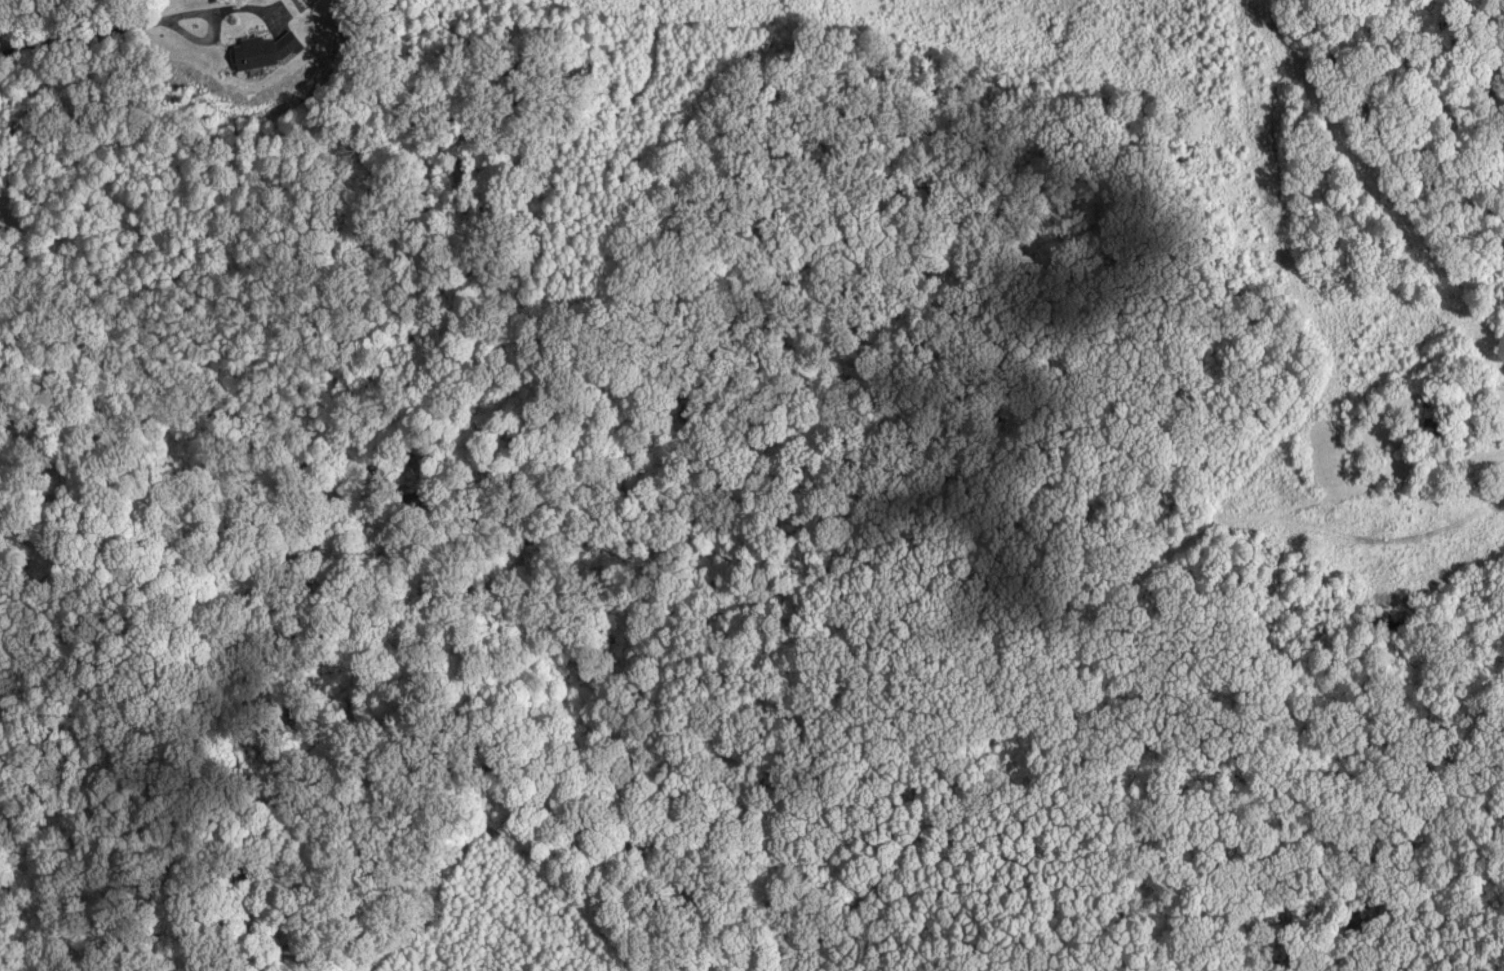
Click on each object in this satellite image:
road: (136, 27)
building: (264, 50)
road: (1407, 109)

